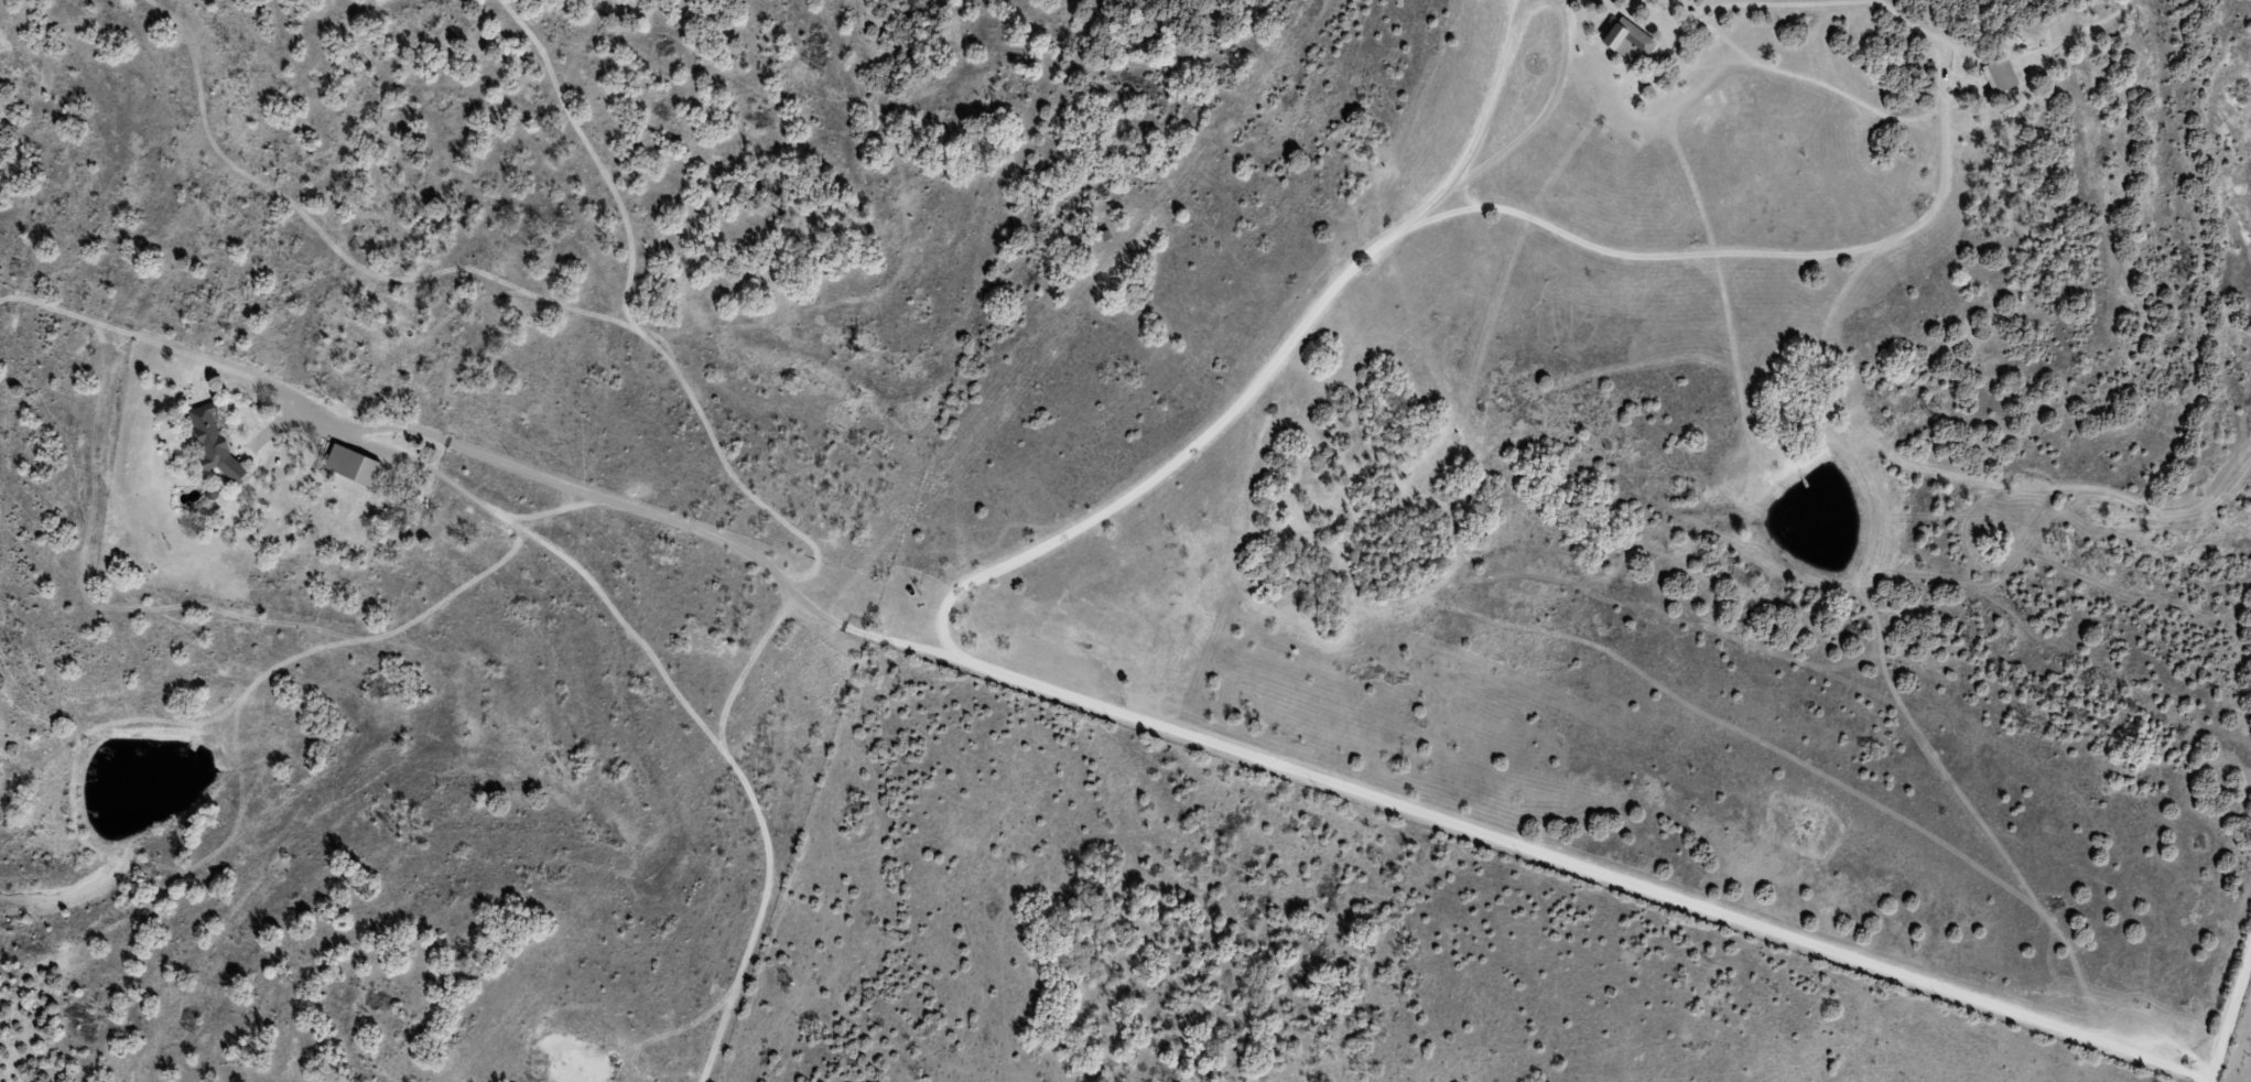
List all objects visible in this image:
building: (1628, 41)
building: (2000, 75)
building: (213, 439)
building: (351, 464)
road: (1330, 788)
road: (2238, 1051)

